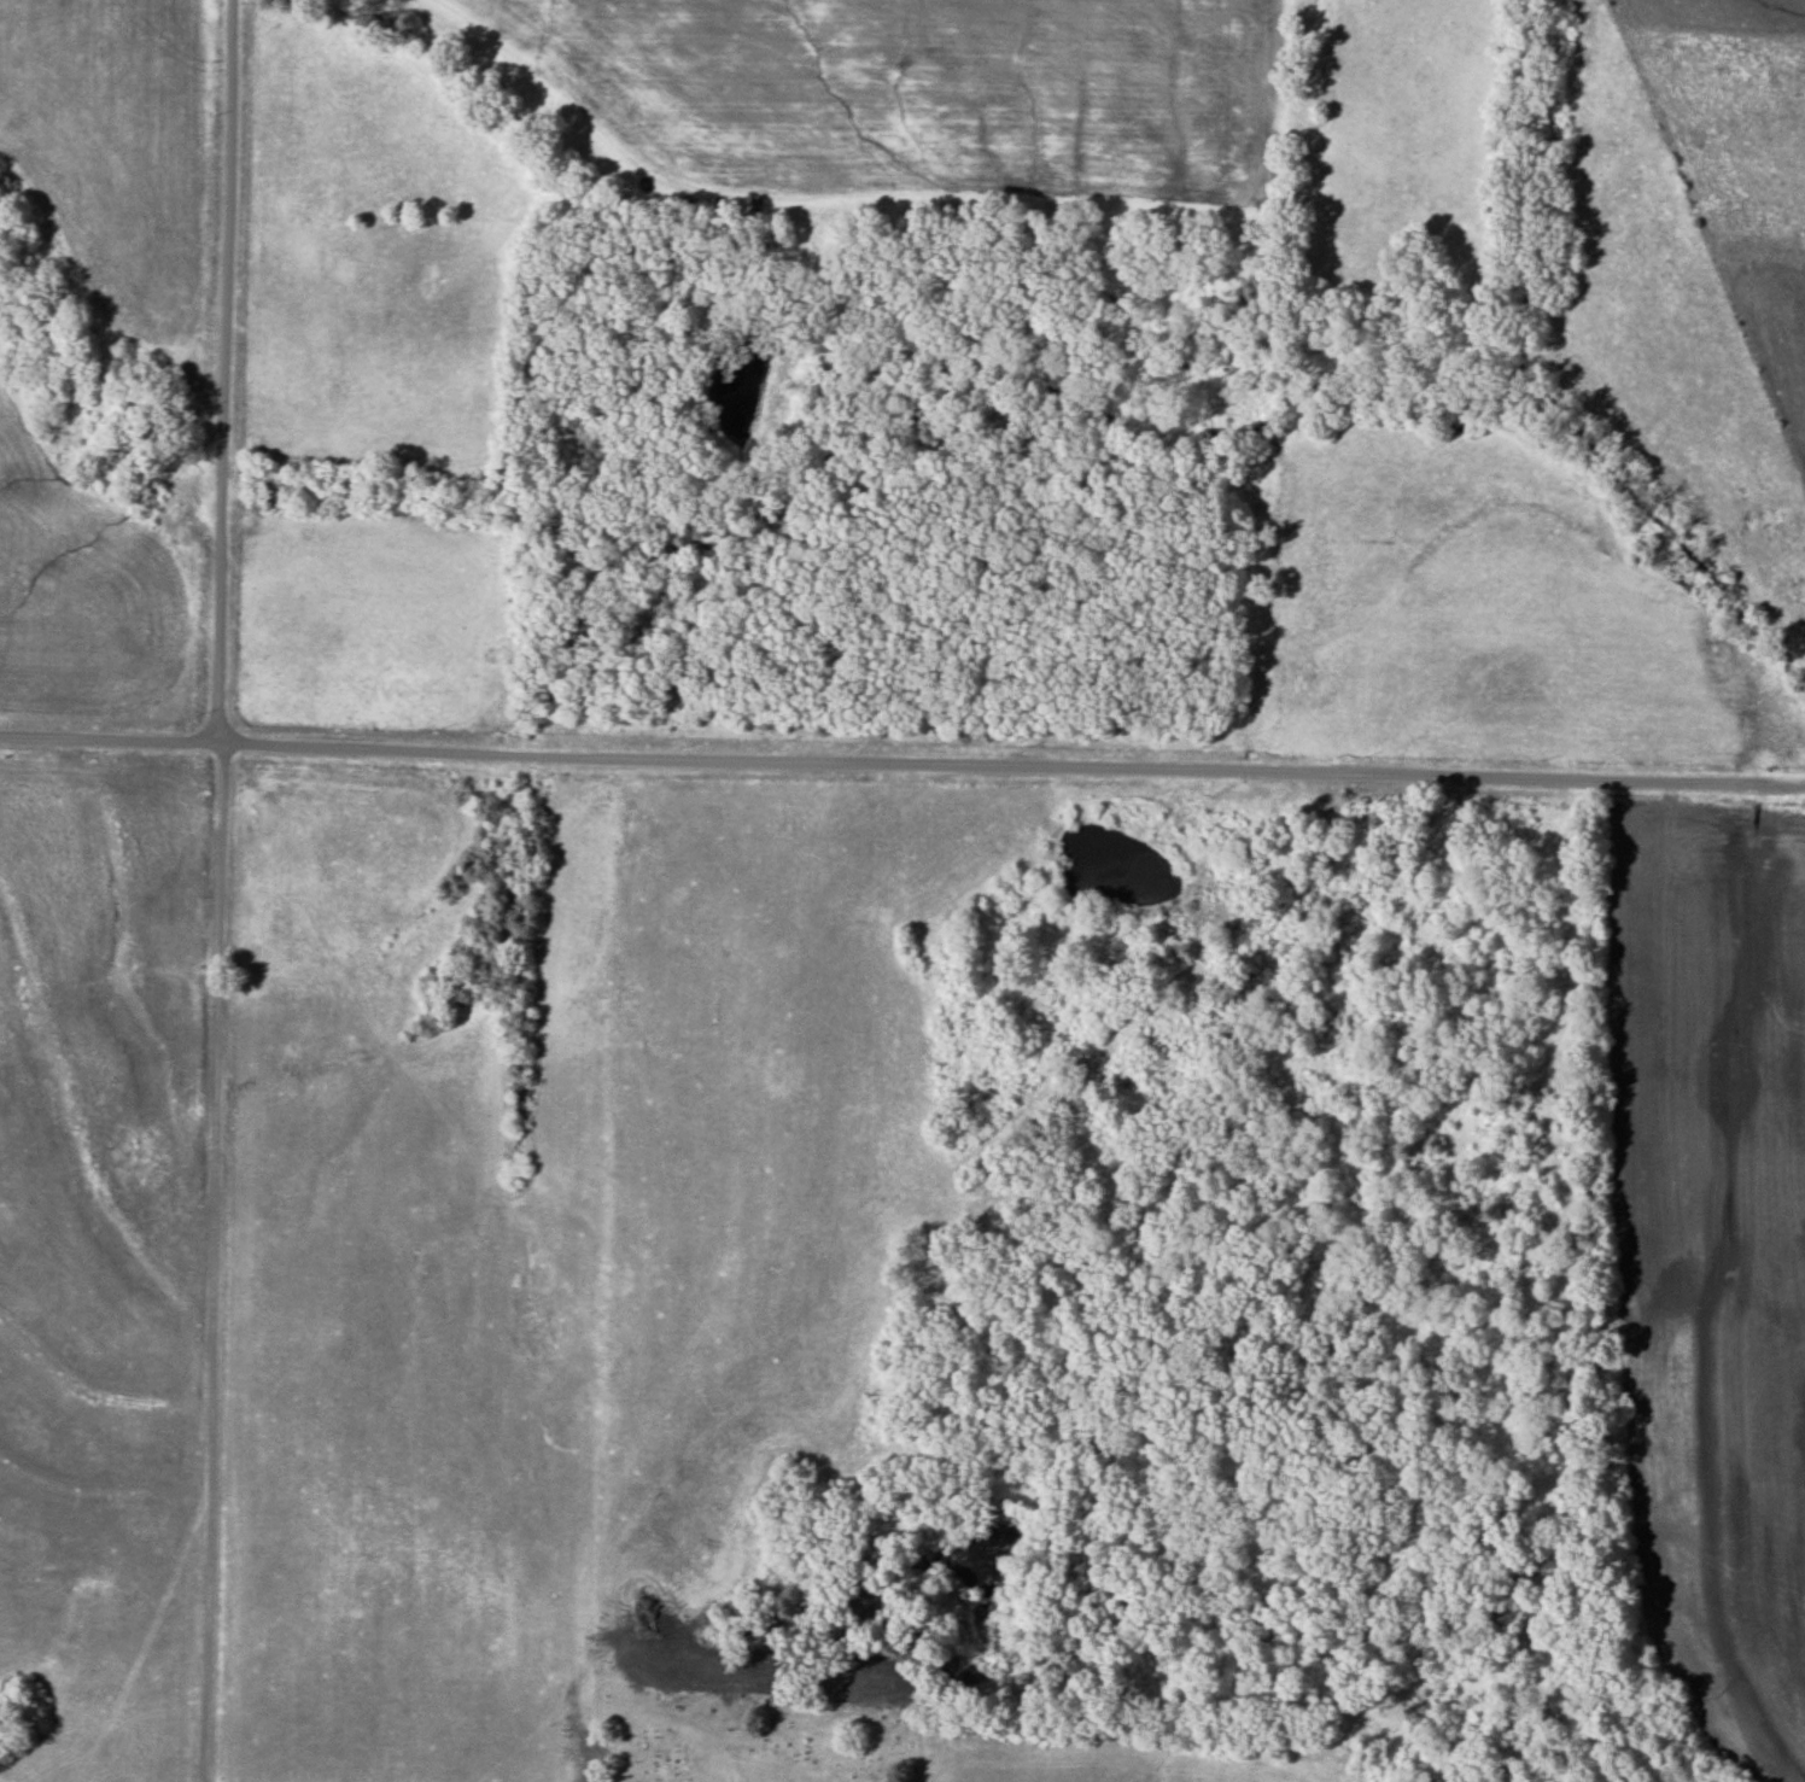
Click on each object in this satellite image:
road: (901, 765)
road: (224, 890)
park: (764, 1735)

